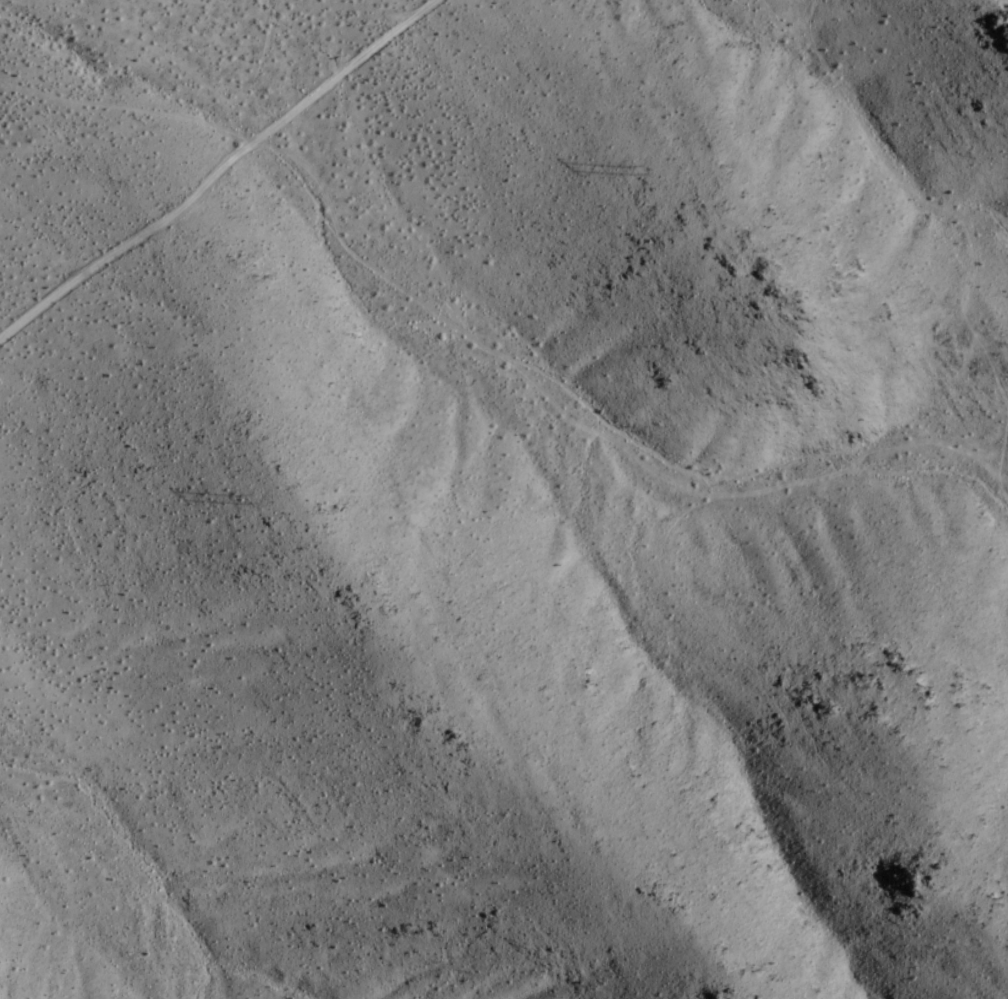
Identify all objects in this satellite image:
power tower: (631, 169)
road: (223, 175)
power tower: (242, 502)

